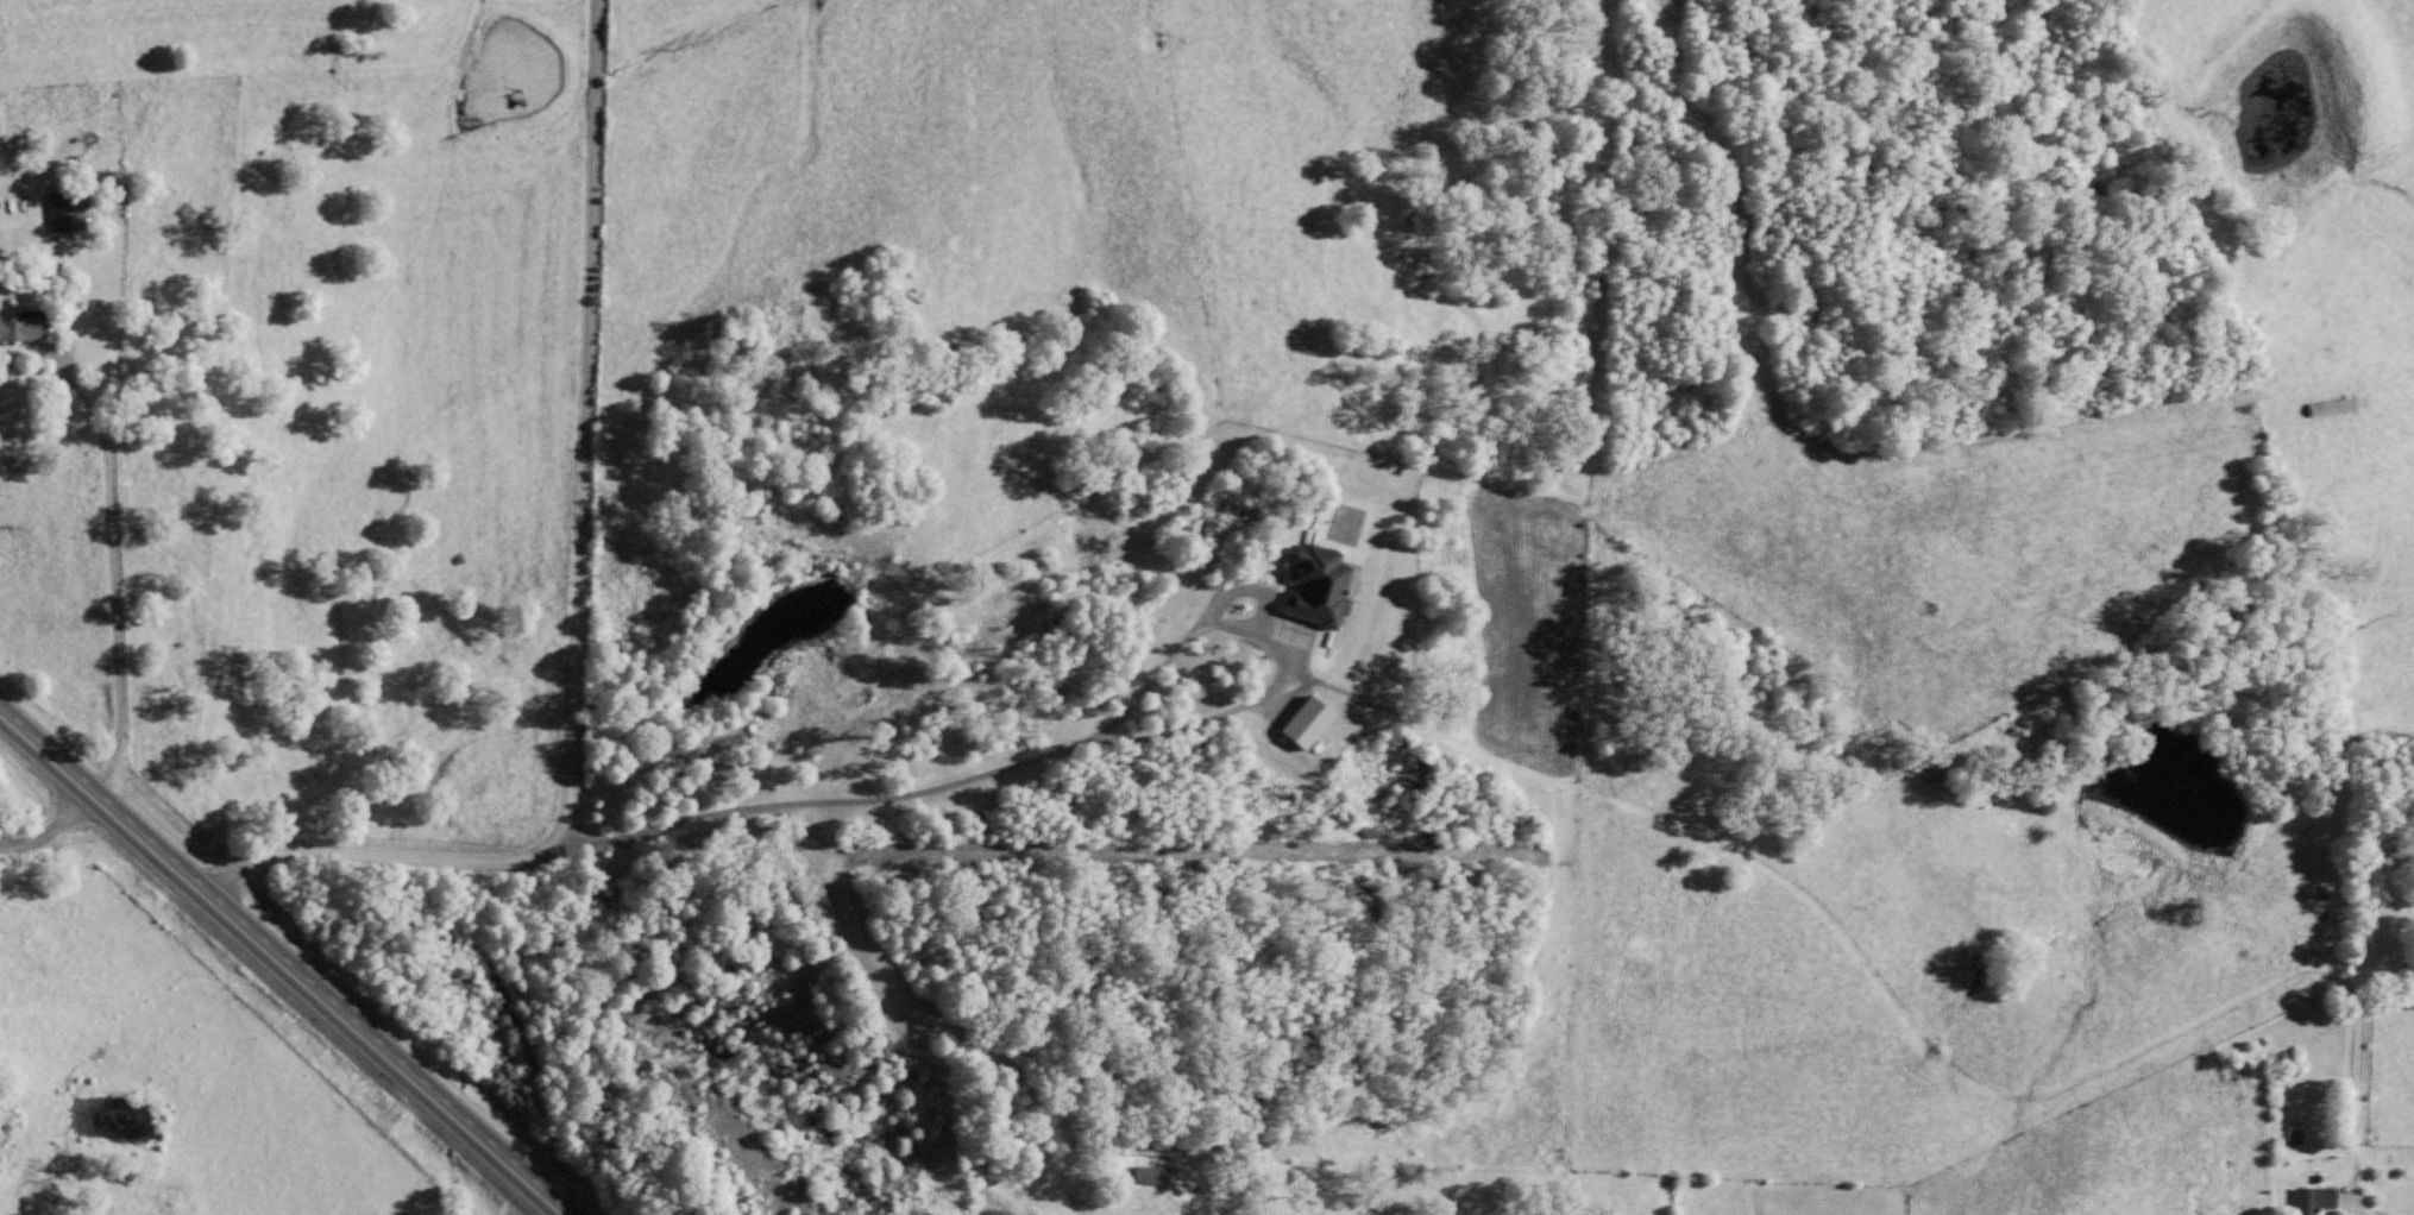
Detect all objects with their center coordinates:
building: (65, 215)
building: (20, 333)
building: (1343, 535)
building: (1319, 598)
road: (579, 605)
road: (114, 628)
road: (71, 808)
road: (68, 826)
road: (283, 962)
park: (2387, 980)
building: (1151, 1181)
building: (2314, 1203)

